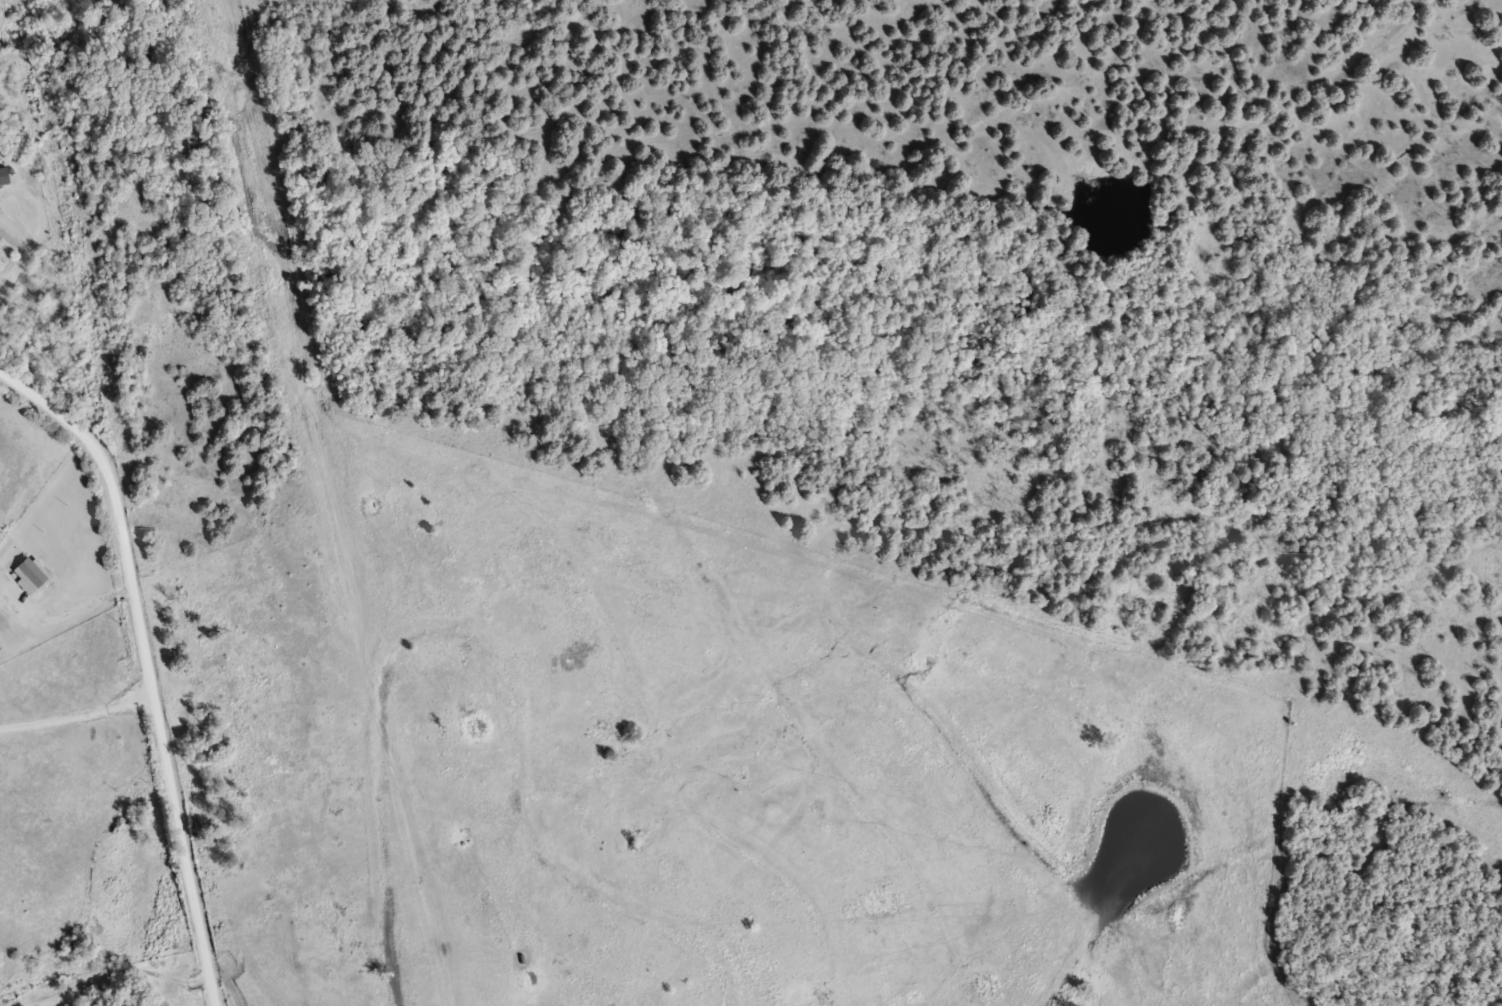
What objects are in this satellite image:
building: (2, 175)
road: (146, 664)
road: (109, 975)

